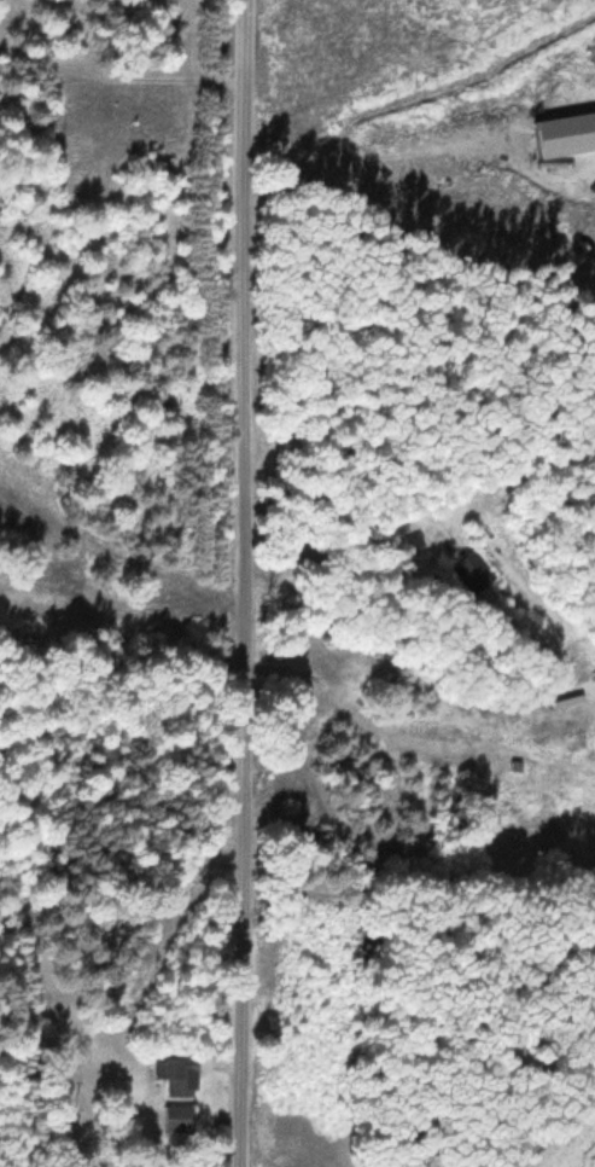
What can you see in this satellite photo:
building: (476, 573)
road: (238, 583)
building: (181, 1075)
building: (182, 1119)

